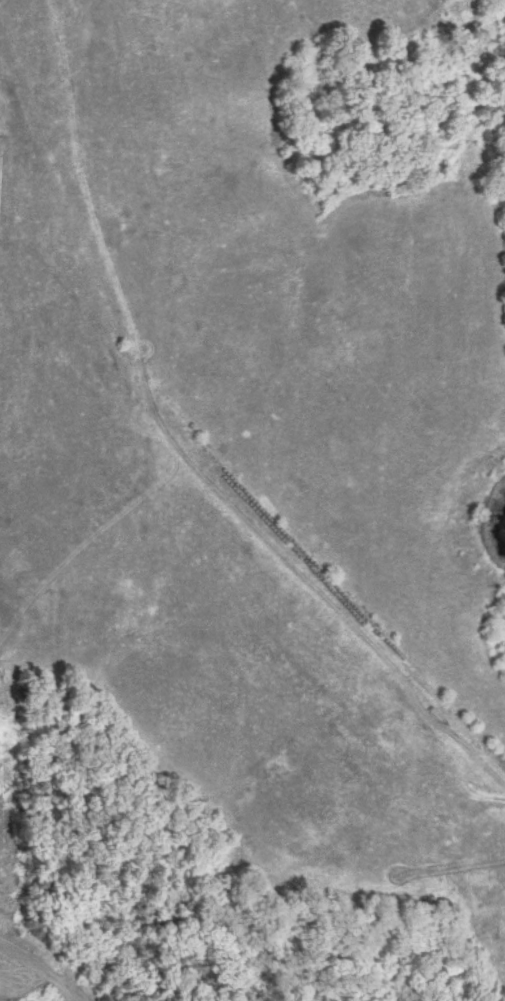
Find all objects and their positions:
road: (57, 958)

